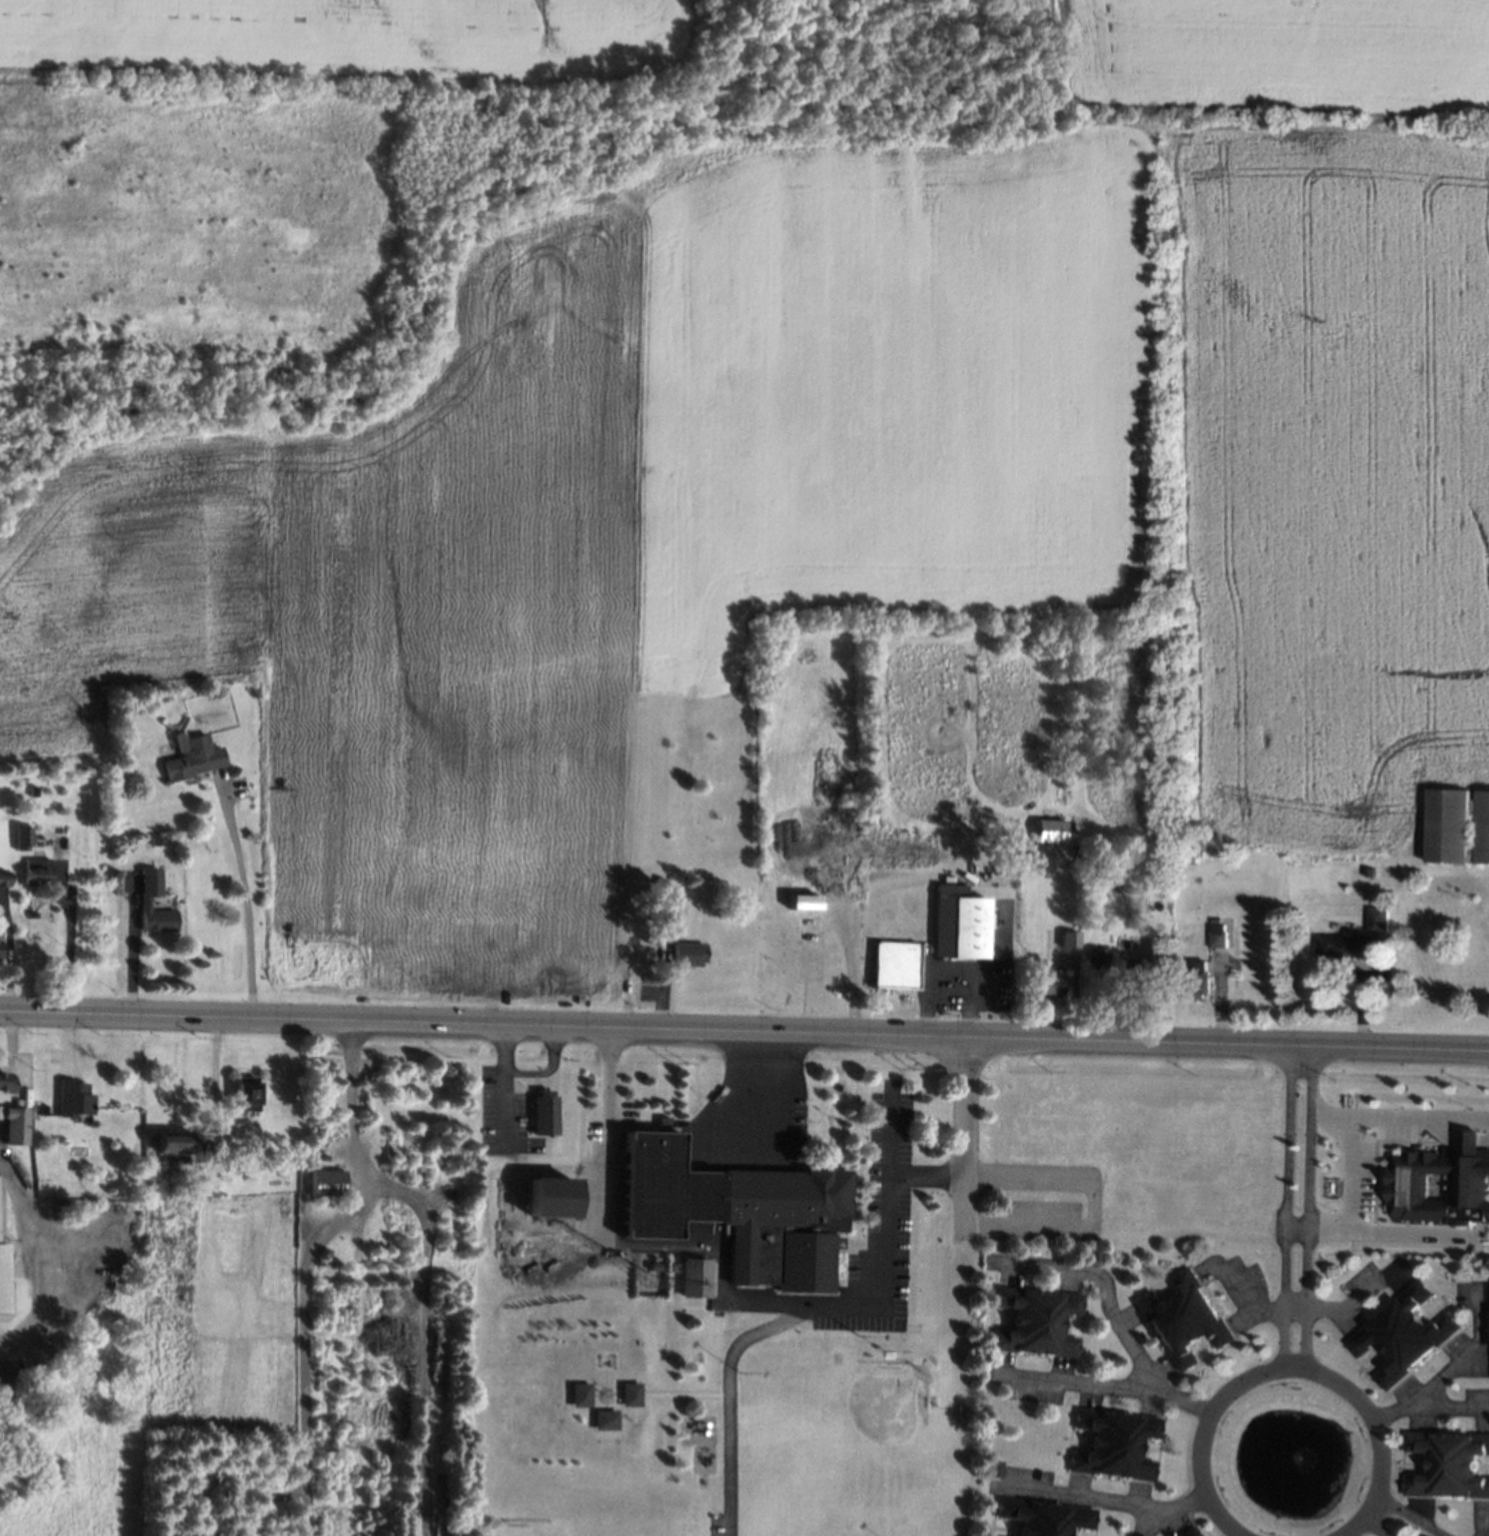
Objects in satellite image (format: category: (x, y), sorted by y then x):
building: (189, 757)
building: (230, 768)
building: (1454, 824)
building: (1045, 828)
building: (20, 837)
building: (154, 840)
building: (1363, 869)
building: (33, 870)
building: (0, 876)
building: (149, 885)
building: (799, 900)
road: (243, 903)
building: (30, 912)
building: (663, 912)
building: (1373, 917)
building: (157, 920)
building: (958, 921)
building: (1213, 936)
building: (1066, 937)
building: (1231, 937)
road: (69, 945)
building: (1337, 945)
road: (132, 950)
building: (684, 952)
building: (1094, 956)
road: (993, 964)
building: (897, 966)
road: (849, 975)
road: (948, 977)
building: (1199, 977)
building: (1051, 982)
building: (1138, 985)
road: (744, 1031)
road: (547, 1070)
road: (502, 1080)
building: (6, 1088)
building: (72, 1094)
road: (760, 1094)
building: (247, 1097)
road: (351, 1098)
building: (546, 1106)
road: (1412, 1115)
building: (14, 1128)
building: (172, 1142)
road: (1344, 1174)
building: (327, 1188)
building: (1440, 1188)
building: (557, 1199)
road: (1284, 1206)
road: (1305, 1207)
building: (738, 1213)
road: (1088, 1225)
road: (1294, 1228)
road: (1407, 1232)
road: (46, 1260)
building: (658, 1264)
road: (1101, 1278)
building: (3, 1279)
building: (697, 1279)
road: (1235, 1290)
road: (777, 1301)
road: (1347, 1302)
building: (1188, 1323)
building: (1041, 1326)
road: (422, 1332)
building: (1402, 1341)
road: (300, 1345)
road: (1443, 1366)
road: (1283, 1367)
road: (1101, 1380)
building: (581, 1395)
building: (631, 1395)
road: (1444, 1404)
park: (711, 1419)
building: (606, 1421)
park: (856, 1425)
building: (1119, 1451)
building: (1450, 1467)
building: (998, 1468)
road: (1072, 1495)
road: (1160, 1510)
road: (1404, 1518)
building: (1047, 1520)
road: (1480, 1520)
park: (555, 1528)
road: (1362, 1532)
building: (1194, 1534)

